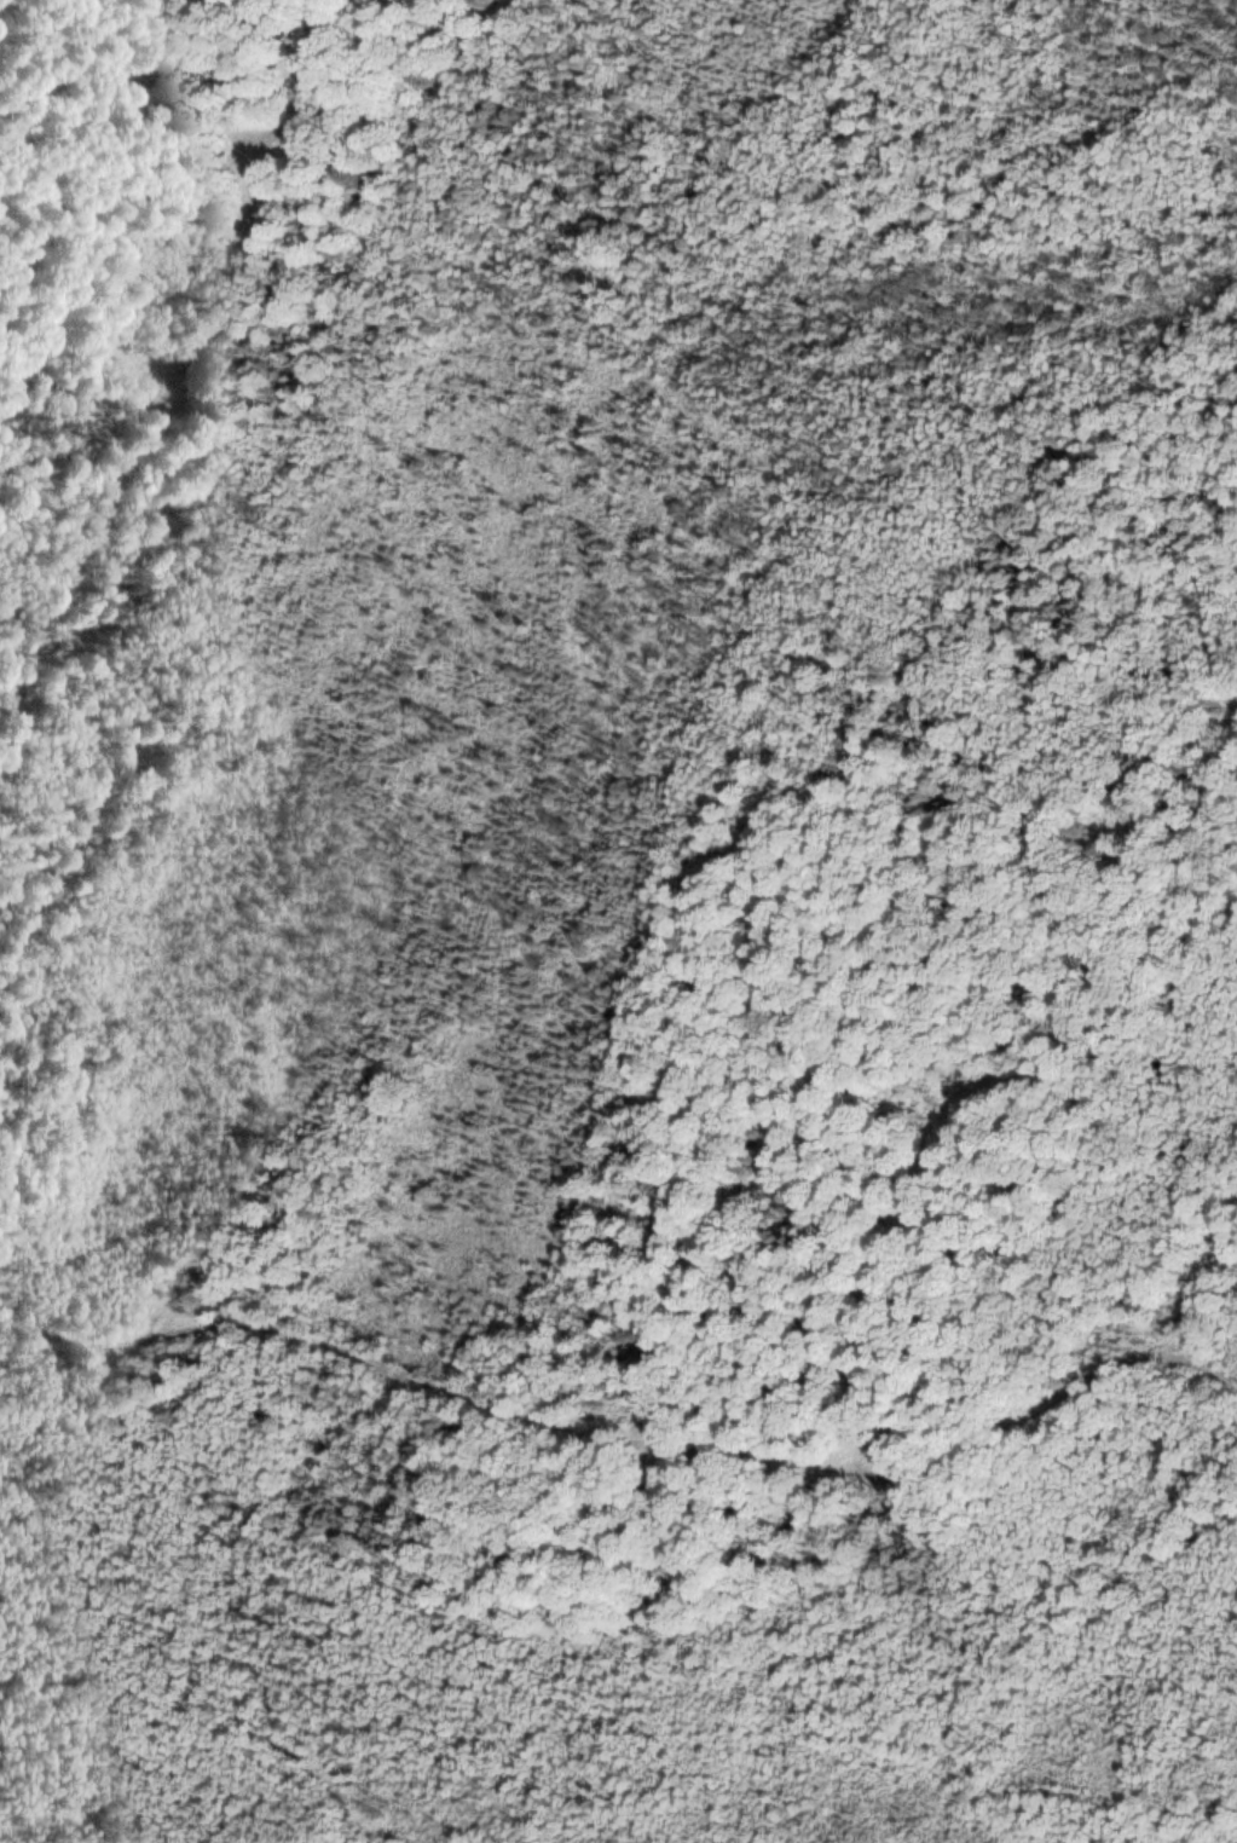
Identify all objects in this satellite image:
road: (132, 285)
road: (618, 1402)

